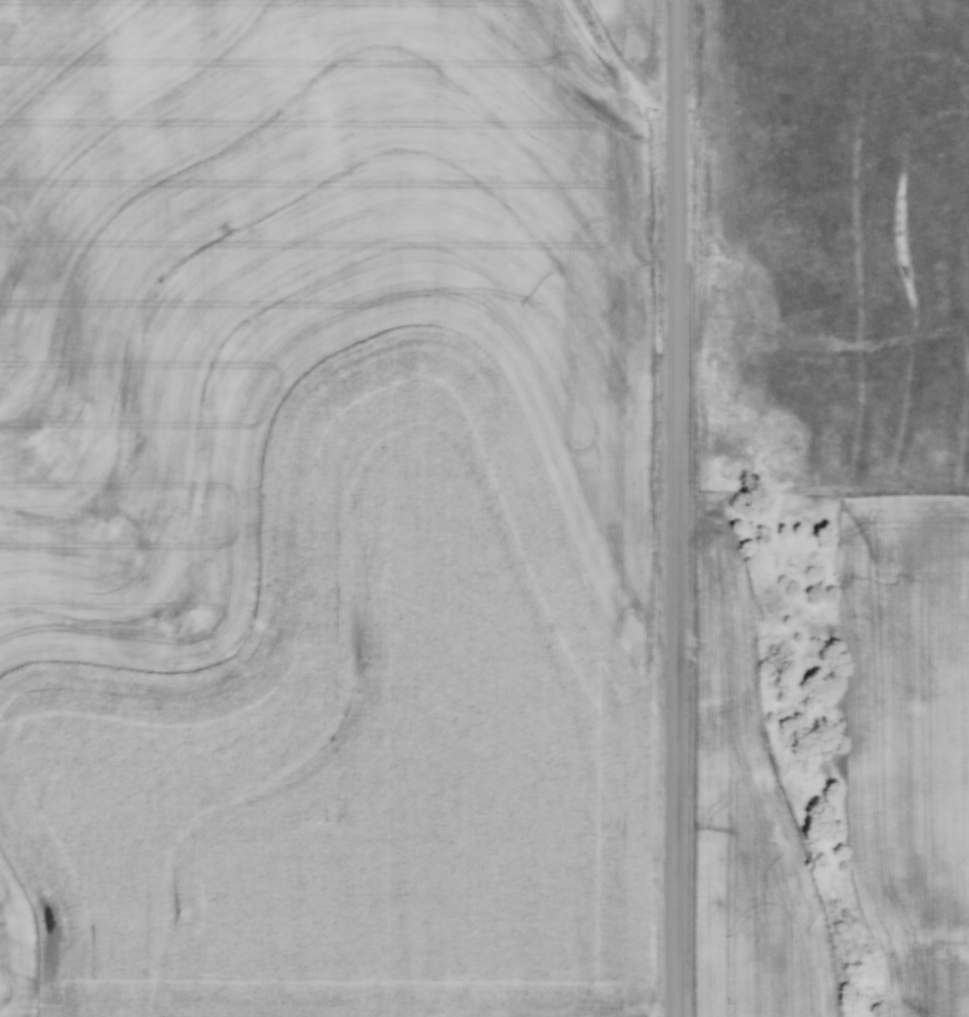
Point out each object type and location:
road: (676, 508)

